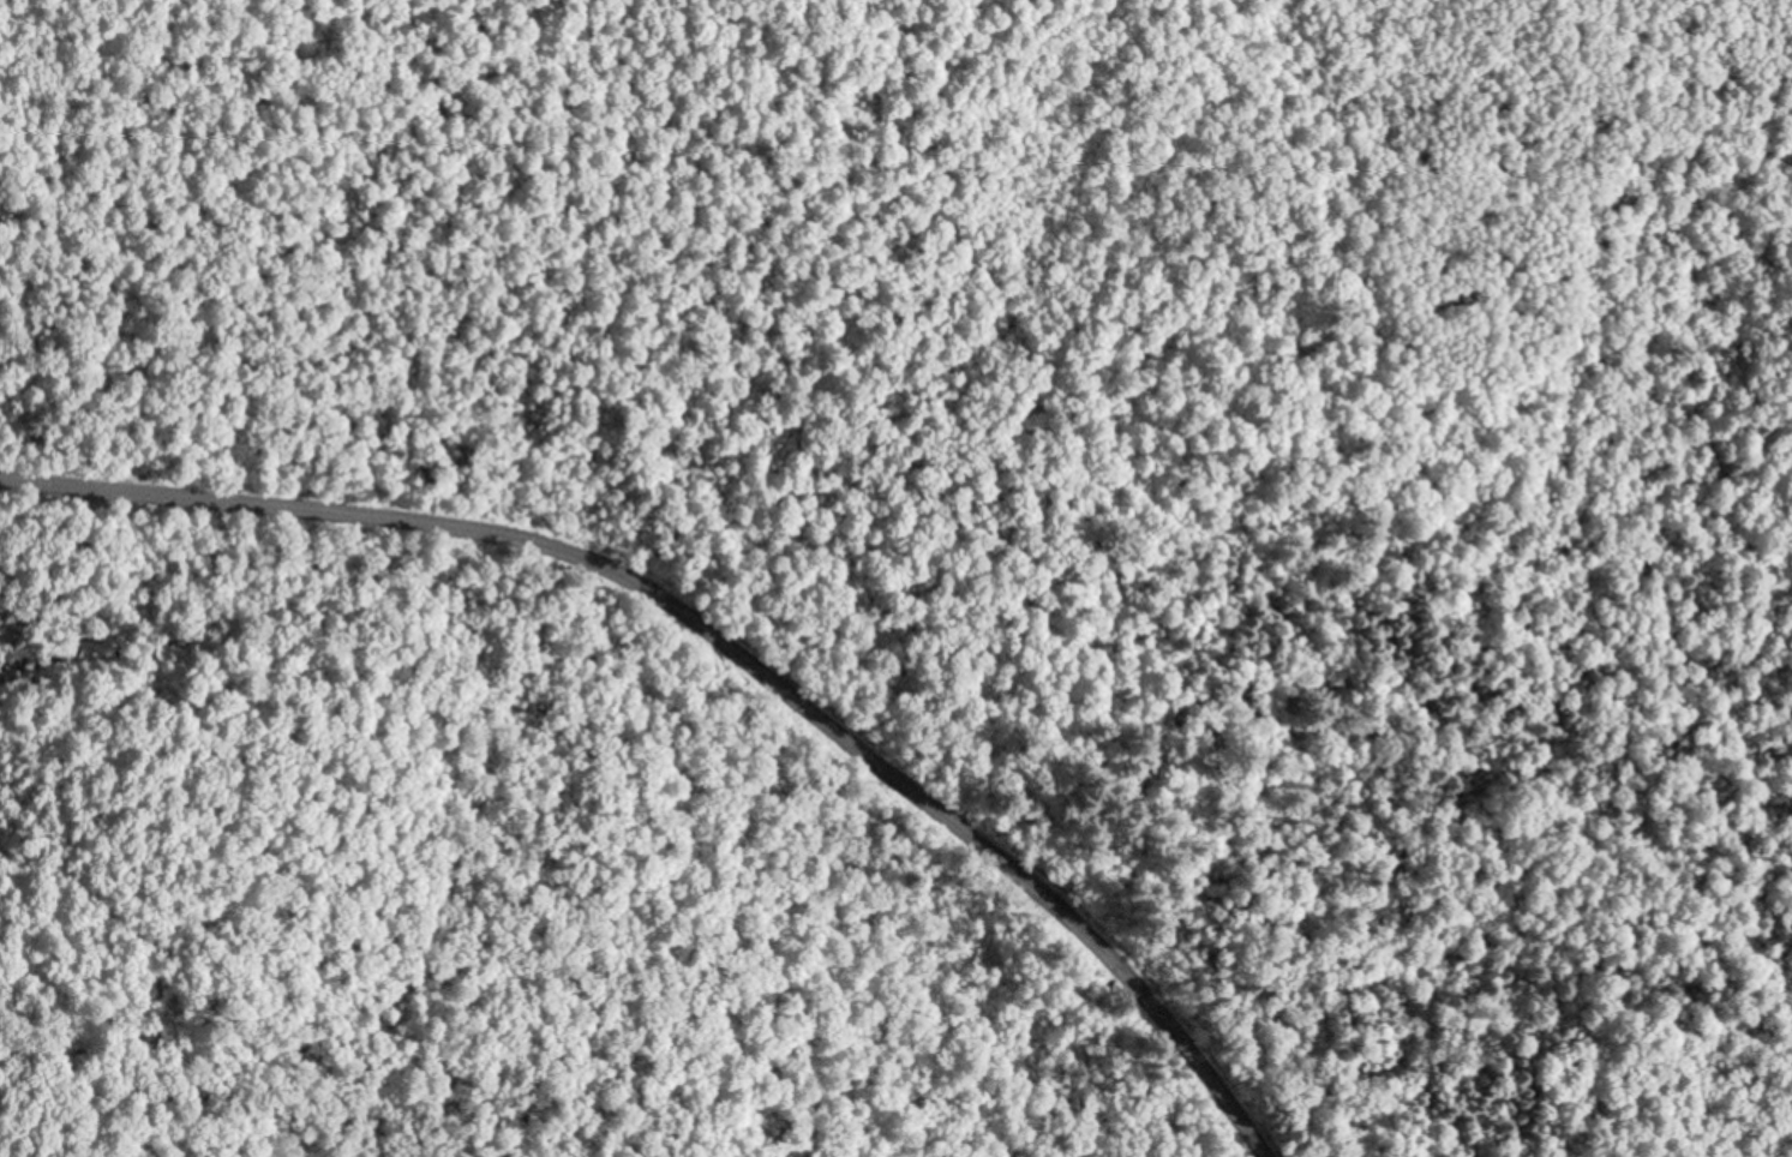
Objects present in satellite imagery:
road: (721, 642)

